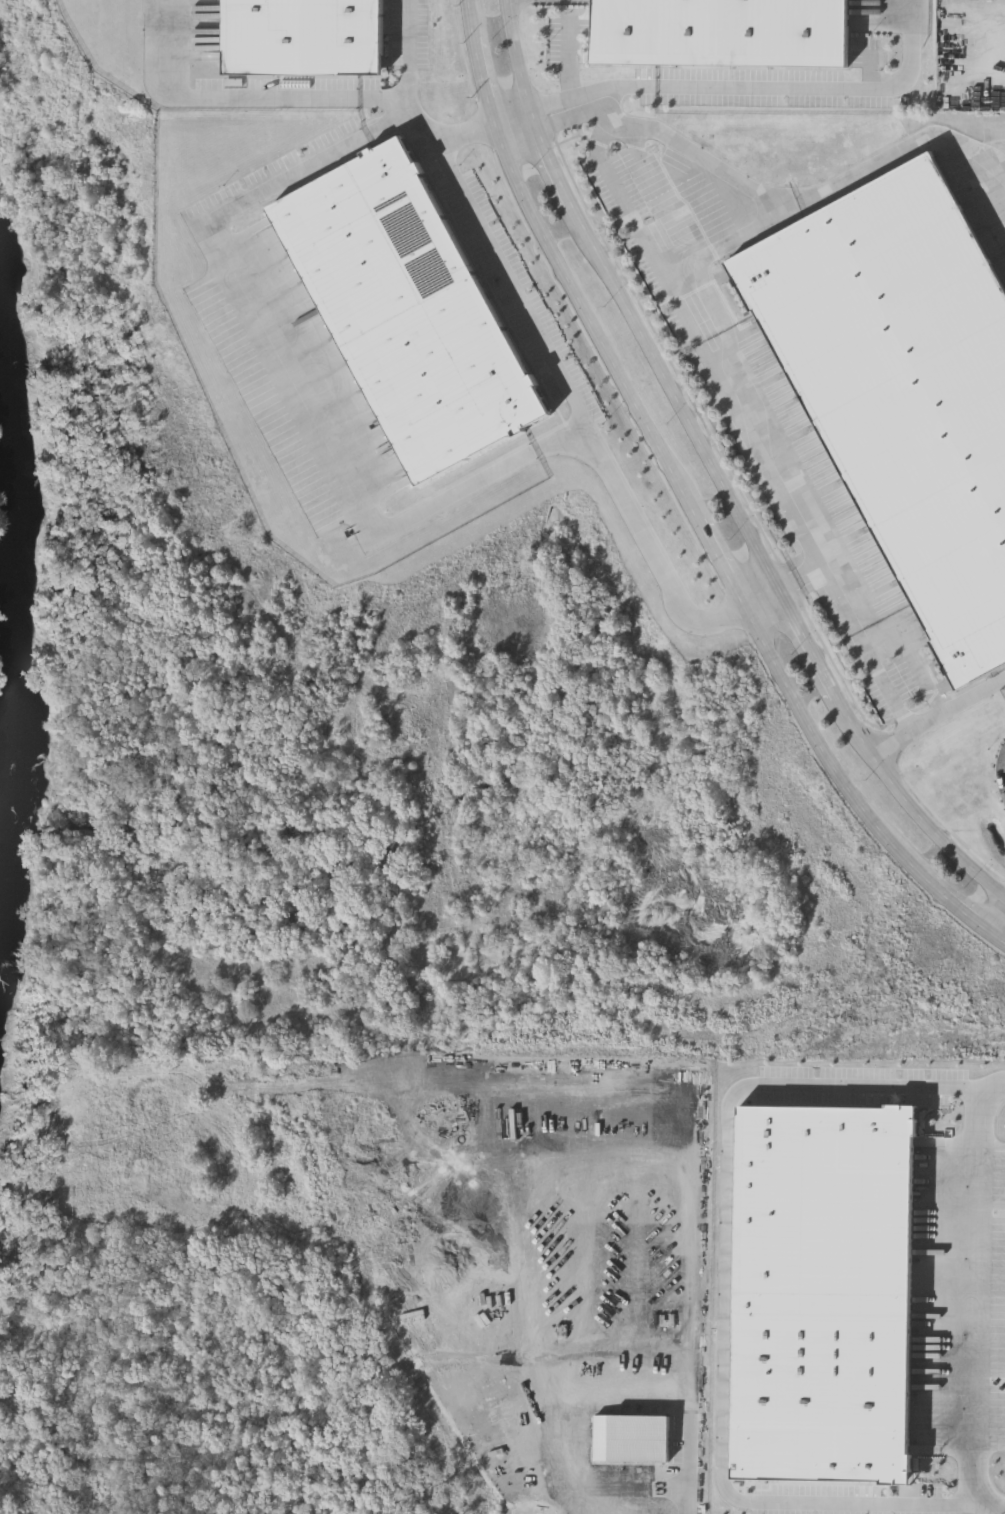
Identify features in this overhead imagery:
road: (472, 21)
building: (718, 29)
building: (303, 36)
road: (517, 61)
road: (571, 68)
road: (485, 86)
road: (782, 90)
road: (409, 107)
road: (518, 125)
road: (556, 164)
road: (775, 197)
road: (628, 204)
road: (707, 257)
building: (407, 309)
road: (594, 328)
road: (286, 385)
building: (902, 388)
road: (576, 412)
road: (811, 535)
road: (724, 564)
road: (767, 567)
road: (803, 579)
road: (763, 599)
river: (27, 650)
road: (938, 716)
road: (826, 751)
road: (963, 912)
road: (1004, 938)
road: (1004, 940)
road: (886, 1078)
road: (725, 1293)
building: (826, 1295)
road: (981, 1299)
road: (628, 1394)
building: (636, 1439)
road: (872, 1500)

